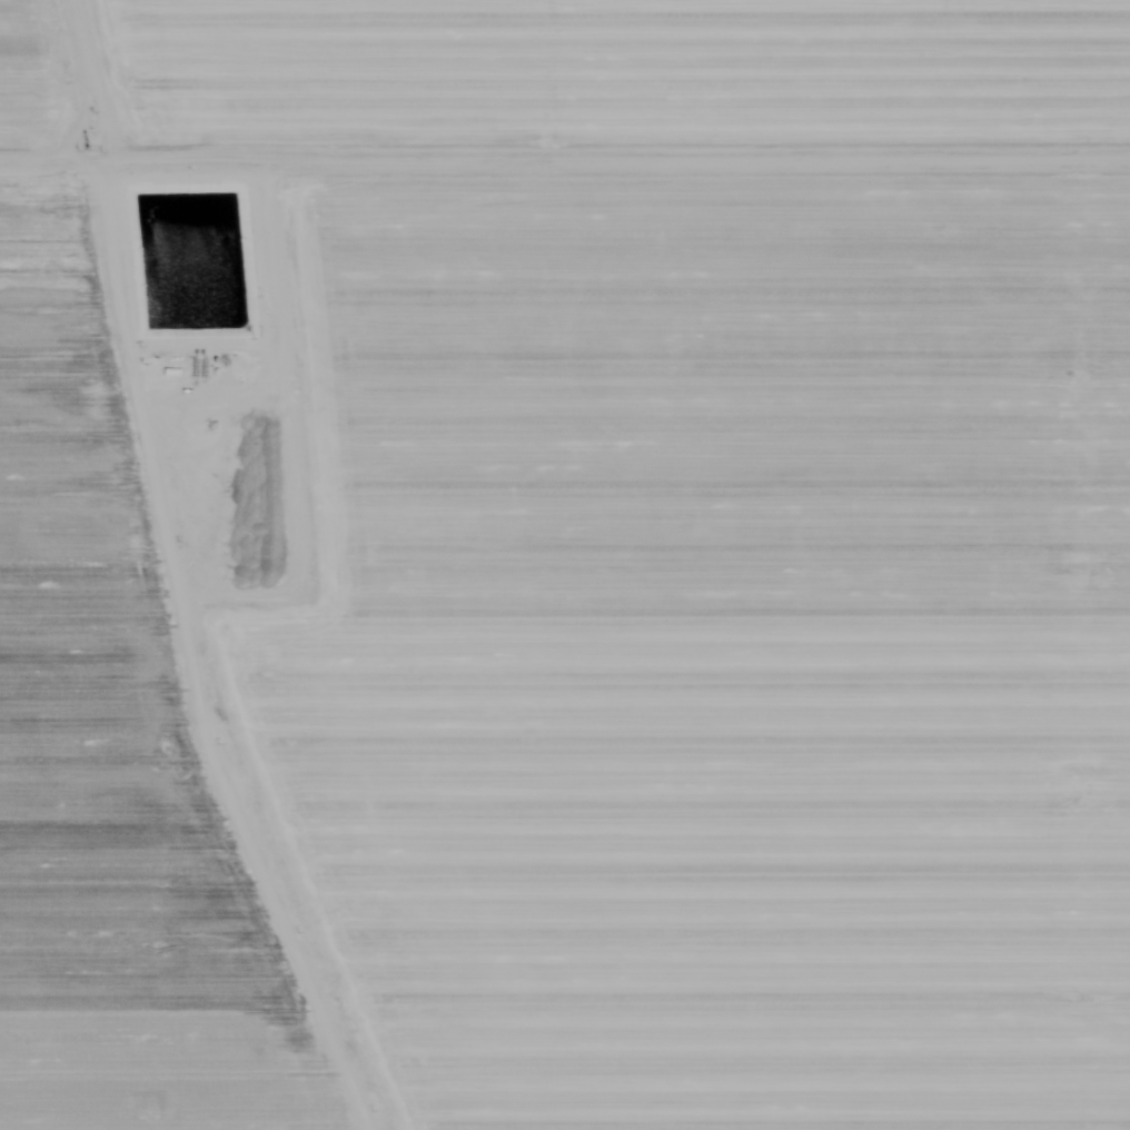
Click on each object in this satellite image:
road: (53, 146)
road: (274, 251)
crop: (565, 565)
road: (166, 582)

